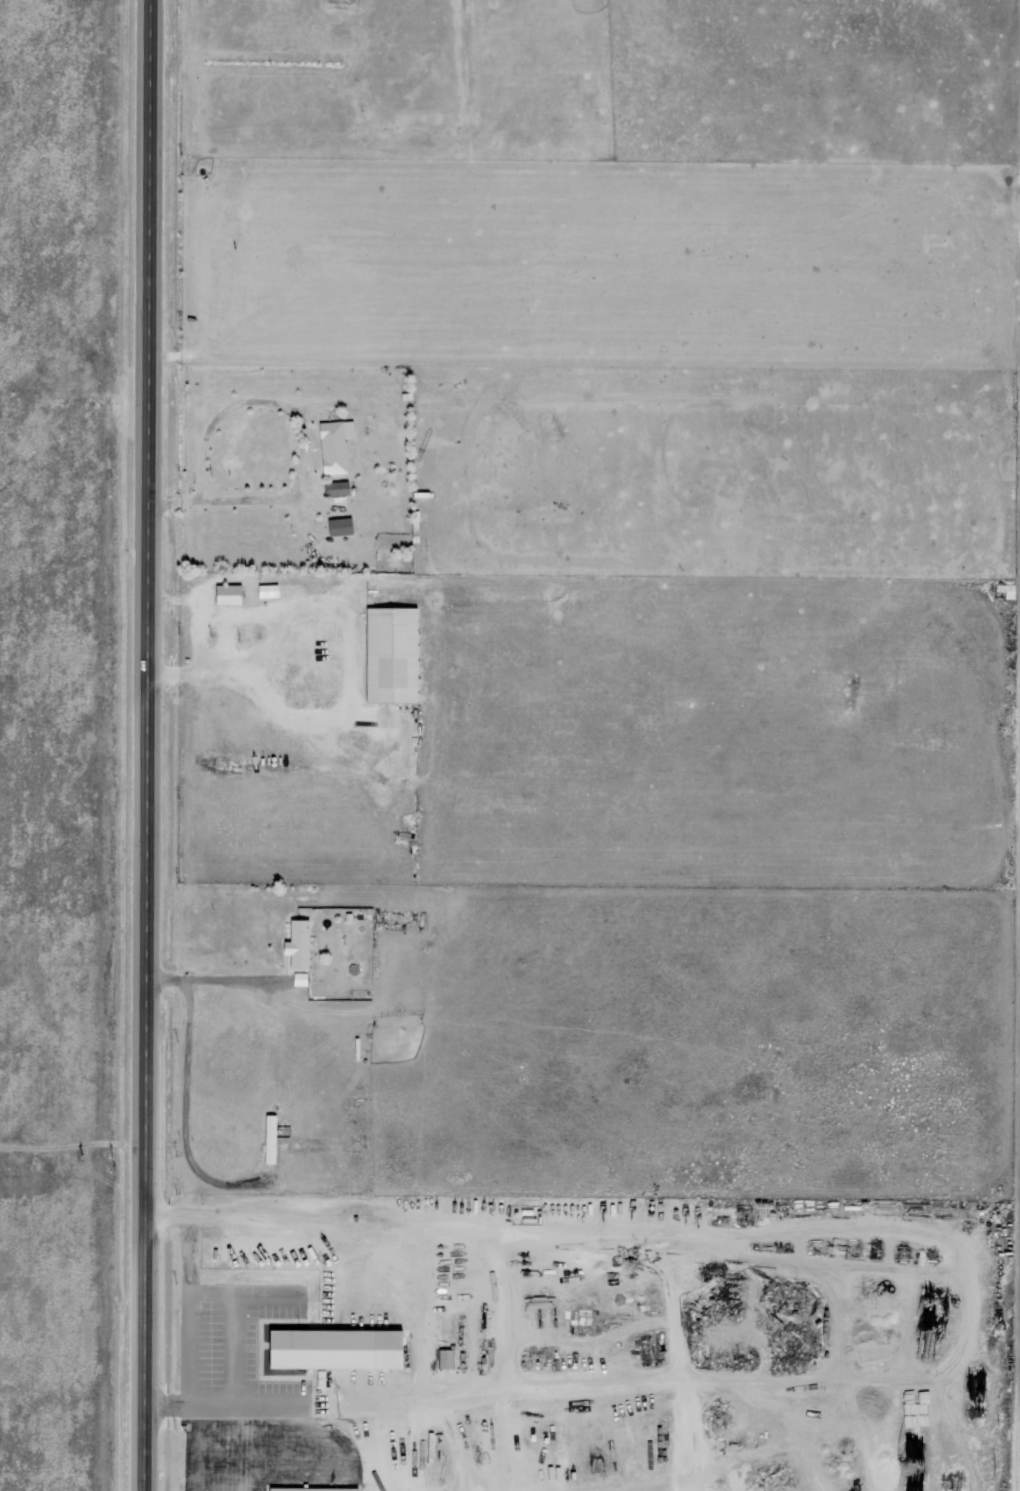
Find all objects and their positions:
building: (333, 445)
building: (337, 525)
building: (266, 590)
building: (225, 593)
building: (388, 654)
road: (151, 745)
building: (296, 944)
building: (267, 1138)
building: (333, 1349)
building: (444, 1358)
building: (310, 1489)

